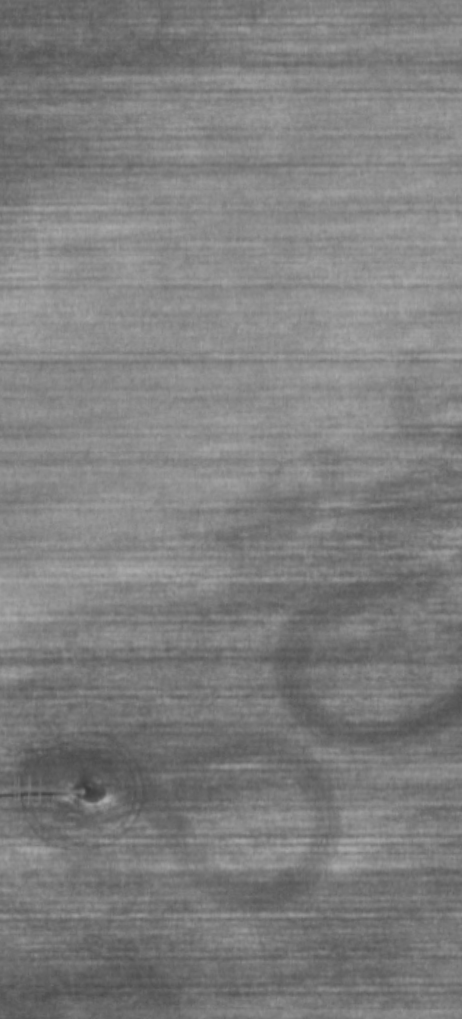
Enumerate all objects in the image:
power tower: (81, 793)

